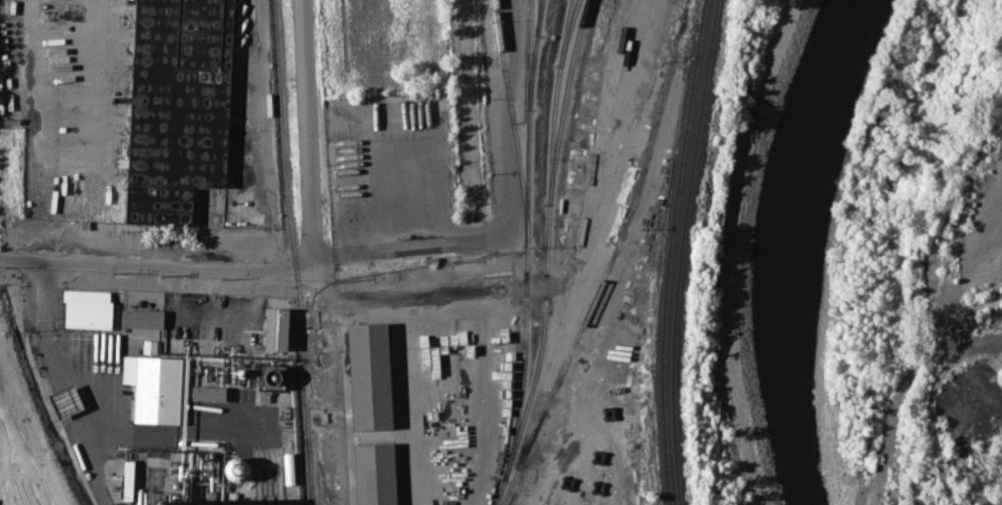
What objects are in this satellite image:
railway: (538, 17)
railway: (566, 27)
railway: (533, 57)
road: (99, 71)
railway: (564, 100)
building: (178, 107)
railway: (526, 121)
road: (261, 135)
road: (307, 155)
road: (472, 200)
railway: (547, 238)
river: (798, 248)
railway: (669, 251)
railway: (681, 251)
railway: (296, 252)
railway: (525, 253)
railway: (611, 258)
road: (128, 265)
building: (87, 309)
road: (215, 314)
building: (141, 317)
building: (280, 328)
road: (56, 356)
building: (374, 377)
building: (275, 378)
building: (153, 388)
building: (211, 393)
building: (64, 401)
road: (215, 427)
railway: (25, 438)
railway: (20, 451)
road: (94, 468)
building: (237, 469)
building: (379, 473)
building: (127, 479)

